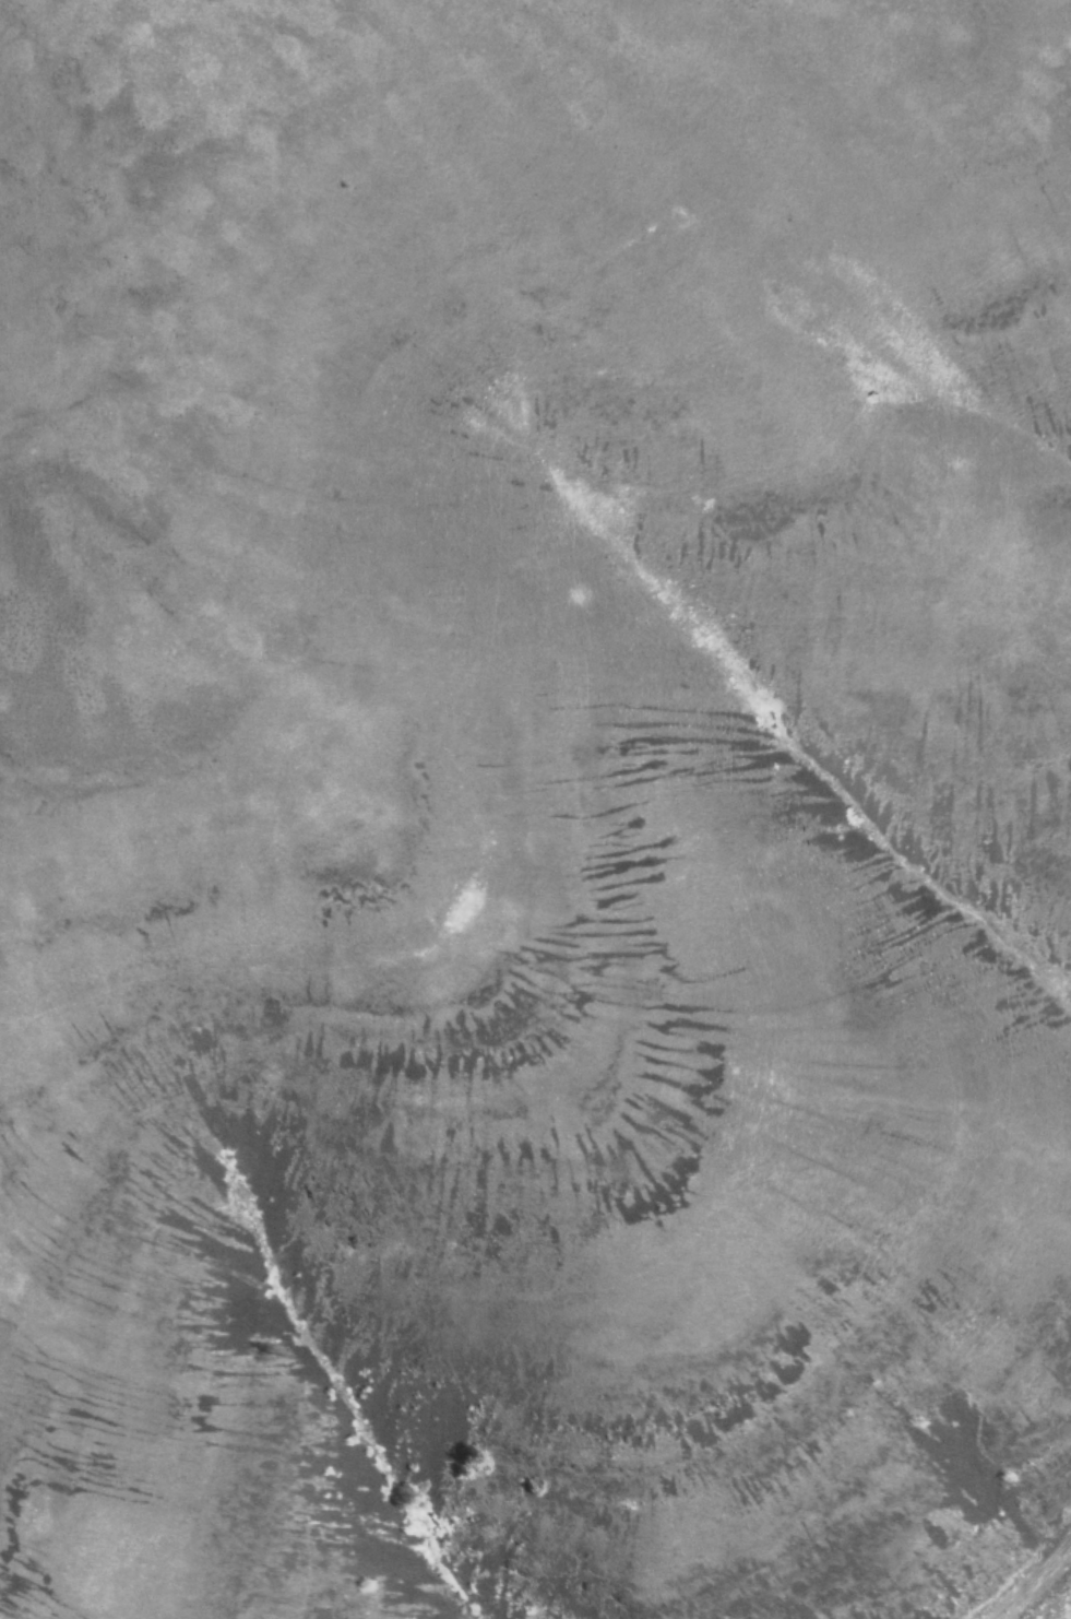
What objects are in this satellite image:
road: (1031, 1577)

